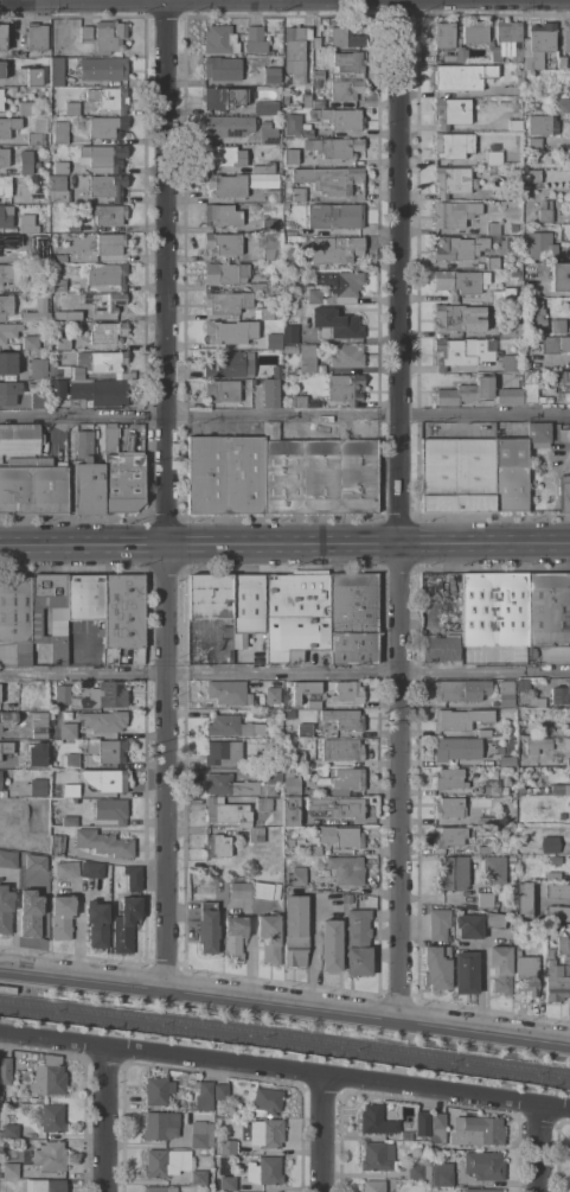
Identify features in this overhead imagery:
road: (198, 0)
building: (474, 32)
building: (85, 34)
building: (443, 36)
building: (2, 37)
building: (37, 37)
building: (342, 37)
building: (511, 37)
building: (566, 37)
building: (108, 38)
building: (220, 39)
building: (256, 40)
building: (315, 42)
building: (15, 43)
building: (538, 44)
building: (295, 53)
building: (461, 56)
building: (494, 56)
building: (347, 62)
building: (103, 69)
building: (2, 70)
building: (222, 70)
building: (56, 72)
building: (271, 75)
building: (316, 75)
building: (33, 76)
building: (462, 76)
building: (519, 78)
building: (345, 89)
building: (52, 91)
building: (224, 97)
building: (1, 98)
building: (114, 98)
building: (307, 101)
building: (318, 104)
building: (561, 106)
building: (25, 108)
building: (71, 108)
building: (265, 108)
building: (451, 111)
building: (315, 114)
building: (344, 119)
building: (542, 125)
building: (8, 126)
building: (228, 126)
building: (296, 126)
building: (514, 126)
building: (103, 127)
building: (38, 132)
building: (60, 132)
building: (268, 135)
building: (534, 144)
building: (449, 146)
building: (335, 147)
building: (4, 157)
building: (102, 157)
building: (229, 157)
building: (290, 157)
building: (493, 158)
building: (25, 162)
building: (37, 164)
building: (60, 167)
building: (269, 167)
building: (258, 170)
building: (332, 180)
building: (553, 180)
building: (453, 181)
building: (226, 185)
building: (5, 186)
building: (107, 186)
building: (256, 189)
building: (58, 190)
building: (299, 195)
building: (271, 196)
building: (569, 202)
building: (286, 205)
building: (545, 212)
building: (107, 213)
building: (454, 213)
building: (220, 215)
building: (6, 216)
building: (334, 216)
building: (26, 223)
building: (269, 224)
building: (73, 228)
building: (513, 228)
building: (492, 229)
building: (25, 237)
building: (109, 243)
building: (223, 243)
building: (270, 246)
building: (542, 246)
building: (459, 248)
building: (334, 249)
building: (25, 255)
building: (289, 257)
building: (57, 259)
building: (492, 263)
building: (8, 273)
building: (225, 273)
building: (107, 274)
building: (515, 276)
building: (559, 276)
building: (456, 282)
building: (58, 285)
building: (340, 285)
building: (26, 286)
building: (262, 286)
building: (314, 295)
building: (501, 295)
building: (103, 301)
building: (225, 302)
building: (40, 304)
building: (5, 305)
building: (263, 313)
building: (534, 313)
building: (72, 315)
building: (27, 317)
building: (459, 318)
building: (337, 323)
building: (511, 326)
building: (557, 326)
building: (8, 331)
building: (108, 332)
building: (230, 332)
building: (288, 334)
building: (274, 342)
building: (30, 343)
building: (63, 344)
building: (555, 344)
building: (462, 352)
building: (347, 356)
building: (307, 358)
building: (103, 362)
building: (7, 363)
building: (511, 363)
building: (228, 364)
building: (38, 369)
building: (59, 371)
building: (70, 372)
building: (563, 376)
building: (344, 388)
building: (57, 389)
building: (222, 390)
building: (466, 391)
building: (8, 393)
building: (271, 393)
building: (530, 393)
building: (98, 394)
building: (563, 395)
building: (508, 396)
building: (38, 401)
building: (299, 402)
road: (284, 415)
building: (538, 438)
building: (320, 471)
building: (226, 474)
building: (457, 474)
building: (510, 474)
building: (28, 476)
building: (121, 476)
building: (87, 478)
road: (166, 493)
building: (564, 493)
road: (399, 509)
road: (284, 544)
building: (210, 597)
building: (248, 604)
building: (87, 608)
building: (494, 610)
building: (123, 611)
building: (51, 613)
building: (296, 614)
building: (549, 617)
building: (353, 618)
building: (15, 620)
building: (441, 648)
building: (488, 655)
road: (284, 673)
building: (302, 690)
building: (460, 690)
building: (226, 691)
building: (347, 691)
building: (108, 694)
building: (506, 694)
building: (559, 694)
building: (62, 695)
building: (273, 695)
building: (523, 700)
building: (313, 702)
building: (260, 713)
building: (7, 719)
building: (345, 719)
building: (454, 719)
building: (103, 721)
building: (39, 725)
building: (235, 726)
building: (303, 729)
building: (68, 731)
building: (558, 731)
building: (568, 732)
building: (483, 733)
building: (566, 744)
building: (537, 745)
building: (6, 747)
building: (449, 748)
building: (341, 750)
building: (111, 751)
building: (223, 753)
building: (37, 754)
building: (295, 758)
building: (71, 760)
building: (568, 761)
building: (278, 764)
building: (287, 772)
building: (569, 773)
building: (449, 778)
building: (104, 779)
building: (348, 779)
building: (241, 784)
building: (292, 785)
building: (38, 788)
building: (70, 788)
building: (495, 789)
building: (561, 789)
building: (263, 804)
building: (347, 807)
building: (449, 808)
building: (111, 810)
building: (288, 810)
building: (228, 812)
building: (69, 821)
building: (487, 821)
building: (313, 822)
building: (20, 829)
building: (256, 835)
building: (448, 836)
building: (348, 837)
building: (487, 841)
building: (103, 843)
building: (56, 844)
building: (550, 844)
building: (217, 846)
building: (313, 850)
building: (483, 850)
building: (8, 859)
building: (289, 860)
building: (555, 860)
building: (36, 861)
building: (66, 869)
building: (91, 869)
building: (344, 869)
building: (493, 869)
building: (451, 874)
building: (552, 875)
building: (297, 877)
building: (133, 878)
building: (239, 890)
building: (265, 891)
building: (557, 891)
building: (524, 899)
building: (485, 900)
building: (5, 910)
building: (30, 912)
building: (558, 912)
building: (62, 917)
building: (494, 922)
building: (96, 924)
building: (124, 924)
building: (438, 924)
building: (468, 926)
building: (207, 928)
building: (295, 931)
building: (539, 931)
building: (233, 936)
building: (269, 937)
building: (358, 943)
building: (329, 945)
building: (549, 945)
building: (563, 945)
building: (437, 967)
building: (500, 968)
building: (466, 973)
building: (526, 974)
building: (555, 987)
road: (284, 1003)
railway: (284, 1034)
railway: (284, 1045)
building: (5, 1070)
road: (284, 1072)
building: (50, 1077)
building: (158, 1091)
building: (220, 1091)
building: (203, 1094)
building: (38, 1101)
building: (267, 1102)
building: (52, 1117)
road: (108, 1120)
building: (376, 1120)
building: (422, 1123)
building: (160, 1126)
building: (438, 1128)
building: (476, 1130)
building: (9, 1132)
building: (1, 1133)
building: (201, 1134)
building: (267, 1134)
road: (322, 1135)
building: (228, 1147)
road: (539, 1148)
building: (203, 1153)
building: (50, 1155)
building: (377, 1156)
building: (166, 1162)
building: (483, 1165)
building: (9, 1171)
building: (264, 1171)
building: (417, 1172)
building: (442, 1174)
building: (200, 1178)
building: (228, 1184)
building: (44, 1185)
building: (373, 1186)
building: (159, 1188)
building: (482, 1190)

